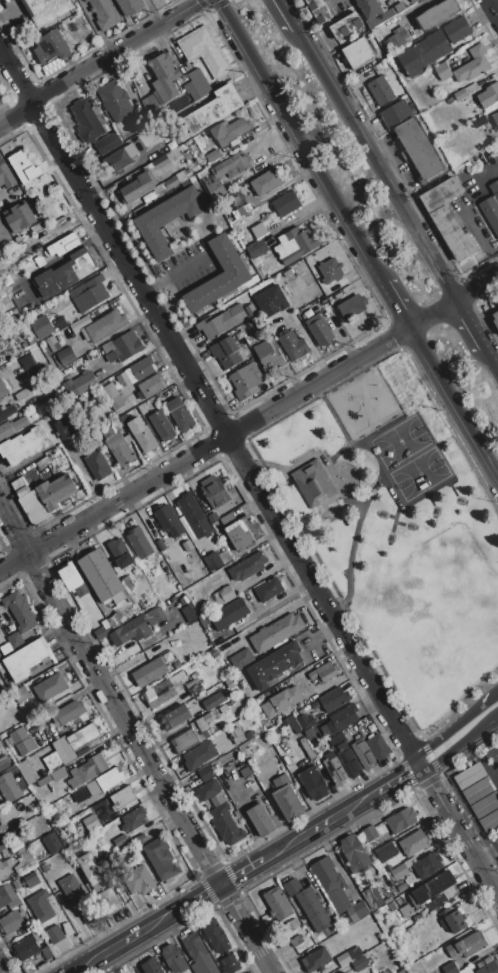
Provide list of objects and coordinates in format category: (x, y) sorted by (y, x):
building: (413, 1)
building: (129, 6)
road: (494, 6)
building: (369, 8)
building: (44, 10)
building: (319, 10)
building: (105, 13)
building: (437, 14)
road: (284, 15)
building: (381, 17)
road: (94, 26)
building: (346, 26)
building: (456, 30)
building: (397, 38)
building: (372, 39)
building: (432, 46)
building: (51, 47)
building: (205, 51)
building: (357, 52)
building: (381, 58)
road: (98, 60)
building: (410, 61)
building: (473, 64)
building: (442, 71)
building: (164, 77)
building: (199, 82)
building: (471, 88)
building: (191, 91)
building: (382, 93)
building: (460, 94)
building: (489, 95)
building: (115, 100)
building: (449, 101)
building: (214, 109)
building: (396, 114)
building: (495, 117)
building: (86, 119)
building: (479, 121)
building: (230, 131)
road: (299, 141)
building: (131, 143)
building: (143, 146)
building: (418, 150)
building: (213, 156)
building: (119, 160)
road: (373, 166)
building: (24, 167)
building: (224, 173)
building: (6, 175)
building: (266, 181)
building: (137, 187)
building: (494, 189)
building: (286, 203)
building: (247, 207)
building: (240, 210)
building: (490, 212)
building: (264, 216)
building: (20, 217)
building: (448, 217)
building: (167, 219)
building: (258, 230)
building: (3, 231)
road: (479, 236)
road: (115, 238)
building: (296, 244)
building: (64, 245)
building: (256, 250)
building: (331, 270)
building: (66, 273)
building: (218, 275)
building: (91, 294)
building: (270, 300)
road: (453, 301)
road: (395, 305)
building: (351, 306)
building: (249, 309)
building: (237, 313)
building: (495, 318)
building: (80, 324)
building: (215, 325)
road: (466, 325)
building: (41, 326)
building: (103, 326)
building: (319, 330)
building: (293, 345)
building: (50, 346)
building: (124, 347)
building: (225, 352)
building: (267, 355)
building: (66, 356)
building: (0, 360)
road: (489, 363)
building: (30, 366)
building: (141, 371)
building: (249, 380)
building: (261, 381)
building: (84, 382)
building: (152, 385)
building: (239, 386)
building: (2, 390)
building: (110, 392)
building: (23, 393)
building: (116, 402)
road: (453, 404)
building: (6, 413)
building: (179, 414)
building: (162, 425)
building: (12, 427)
building: (65, 427)
building: (142, 434)
road: (219, 439)
building: (22, 446)
building: (120, 448)
park: (409, 459)
building: (42, 462)
building: (97, 464)
building: (313, 483)
building: (19, 486)
building: (56, 491)
building: (214, 492)
building: (34, 507)
building: (193, 515)
building: (212, 518)
building: (168, 520)
park: (398, 530)
building: (236, 532)
building: (139, 542)
building: (162, 542)
building: (186, 546)
building: (120, 552)
road: (15, 562)
building: (247, 567)
park: (447, 570)
building: (100, 574)
building: (69, 576)
building: (127, 583)
building: (268, 589)
building: (81, 590)
building: (224, 596)
building: (183, 600)
building: (20, 611)
building: (229, 614)
building: (101, 617)
building: (189, 617)
building: (115, 620)
building: (202, 622)
building: (137, 626)
building: (103, 630)
building: (276, 632)
building: (15, 640)
building: (230, 644)
building: (5, 648)
building: (239, 657)
building: (27, 659)
road: (364, 663)
building: (176, 664)
building: (274, 665)
building: (150, 672)
building: (323, 672)
building: (30, 684)
building: (50, 687)
building: (163, 690)
building: (19, 695)
building: (333, 698)
building: (281, 701)
road: (492, 702)
building: (211, 704)
building: (313, 706)
building: (67, 712)
building: (211, 715)
building: (174, 718)
building: (340, 719)
building: (306, 722)
building: (291, 723)
road: (493, 723)
building: (201, 724)
building: (234, 733)
building: (249, 734)
road: (453, 734)
building: (18, 735)
building: (83, 736)
road: (136, 737)
building: (238, 739)
building: (185, 740)
building: (1, 745)
road: (455, 745)
building: (26, 746)
building: (378, 747)
building: (307, 748)
building: (64, 749)
building: (269, 749)
building: (362, 752)
building: (199, 755)
building: (256, 759)
building: (52, 760)
building: (348, 760)
building: (3, 762)
building: (335, 769)
building: (88, 771)
building: (245, 771)
building: (26, 772)
building: (206, 773)
building: (58, 774)
building: (44, 781)
building: (105, 781)
building: (313, 783)
building: (9, 788)
building: (208, 790)
building: (79, 795)
building: (480, 795)
building: (122, 797)
building: (287, 798)
building: (217, 800)
building: (8, 814)
building: (133, 819)
building: (261, 819)
building: (401, 820)
building: (91, 822)
building: (226, 824)
building: (370, 833)
building: (29, 838)
building: (55, 840)
building: (102, 841)
building: (120, 841)
building: (414, 842)
building: (1, 846)
building: (15, 846)
building: (383, 848)
building: (396, 848)
road: (487, 849)
building: (354, 853)
building: (160, 859)
building: (24, 861)
building: (410, 861)
building: (427, 865)
building: (5, 867)
building: (45, 867)
building: (90, 869)
road: (247, 869)
building: (397, 873)
building: (327, 874)
building: (30, 879)
building: (138, 880)
building: (16, 883)
building: (292, 887)
building: (400, 887)
building: (434, 887)
building: (71, 890)
building: (8, 897)
building: (110, 900)
building: (338, 900)
building: (400, 902)
building: (277, 904)
building: (377, 904)
building: (40, 906)
building: (391, 906)
building: (313, 909)
building: (405, 911)
building: (84, 916)
building: (411, 920)
building: (451, 920)
building: (11, 922)
building: (292, 924)
building: (406, 932)
building: (54, 934)
building: (216, 936)
building: (296, 941)
building: (466, 945)
building: (26, 948)
building: (199, 952)
building: (47, 953)
building: (348, 956)
building: (173, 958)
building: (315, 960)
building: (484, 962)
building: (230, 963)
building: (360, 963)
building: (151, 966)
building: (450, 968)
building: (489, 968)
road: (1, 969)
building: (344, 972)
building: (383, 972)
building: (401, 972)

